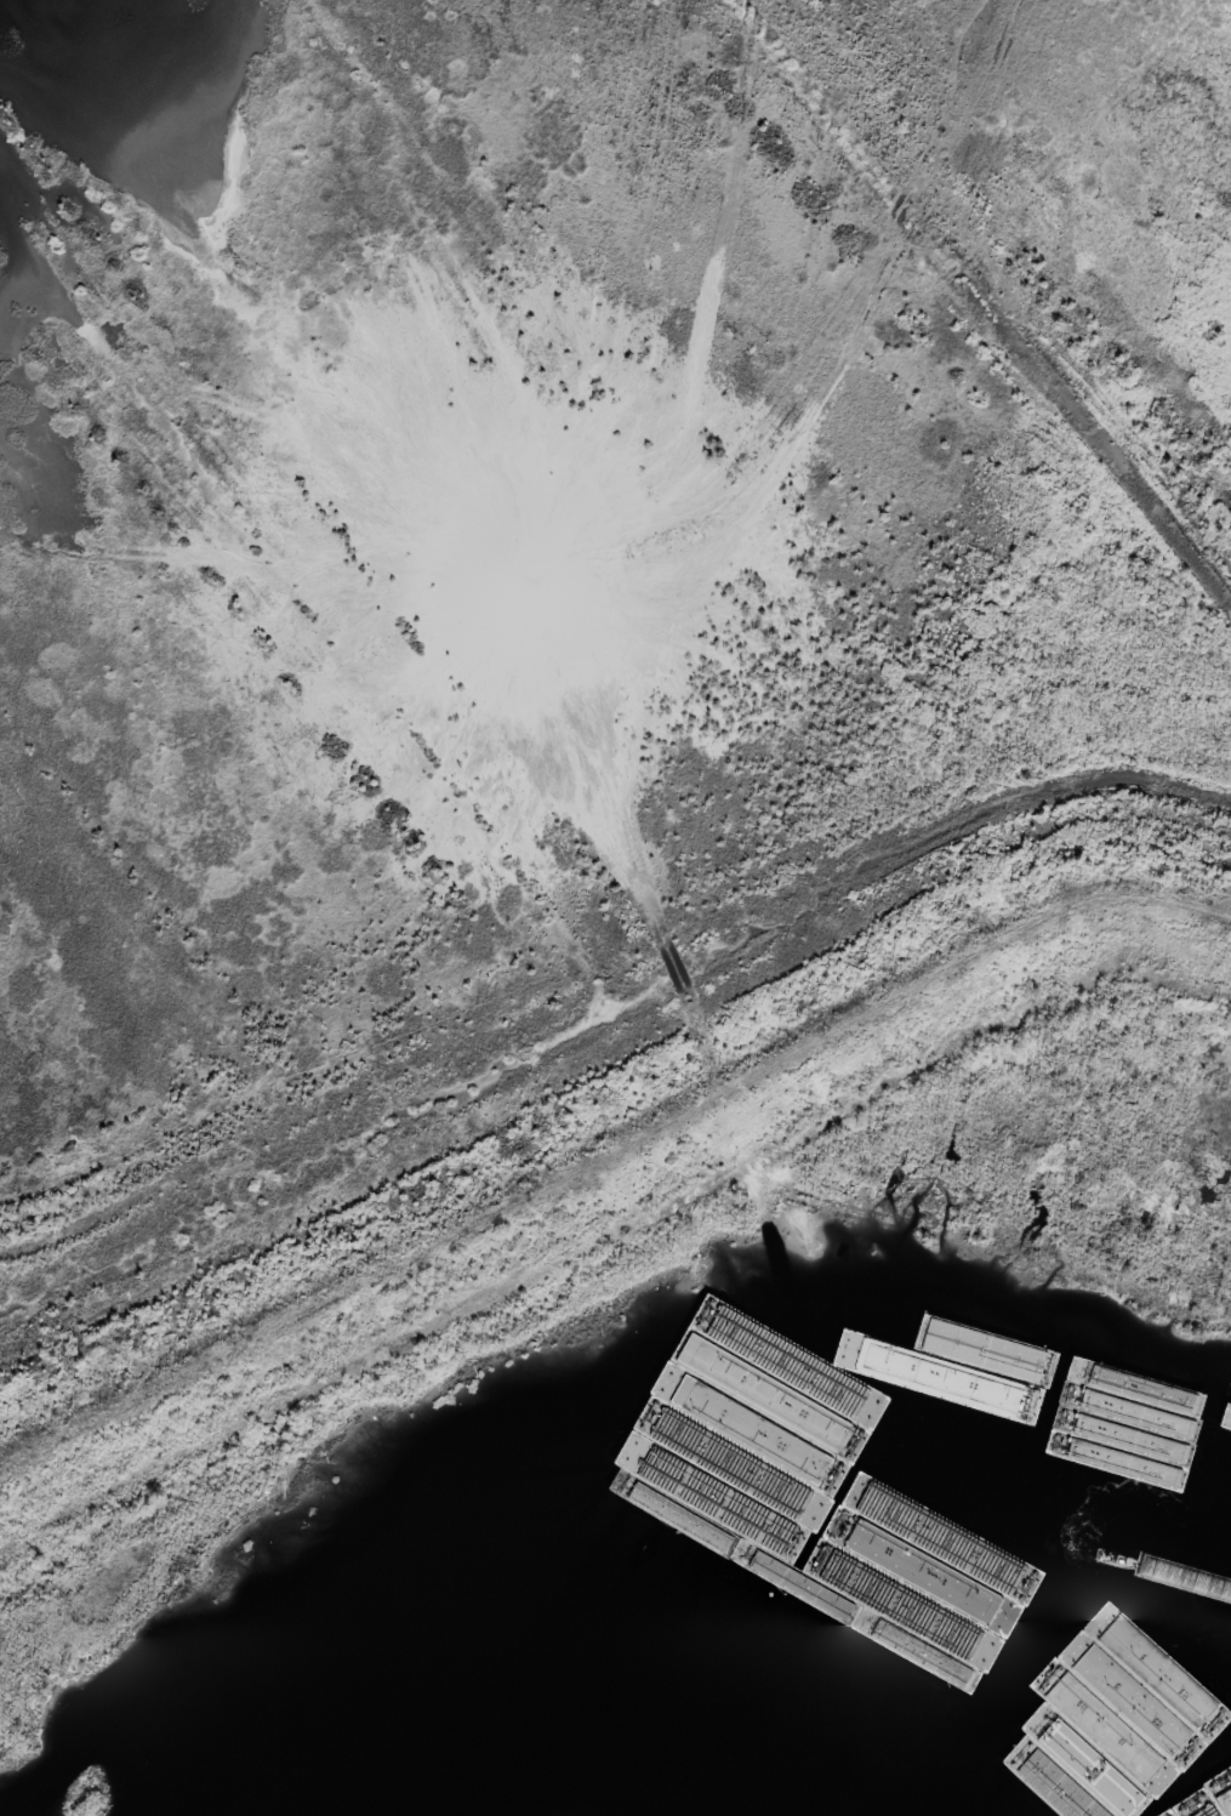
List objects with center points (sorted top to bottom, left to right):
landfill: (587, 725)
building: (1230, 1478)

